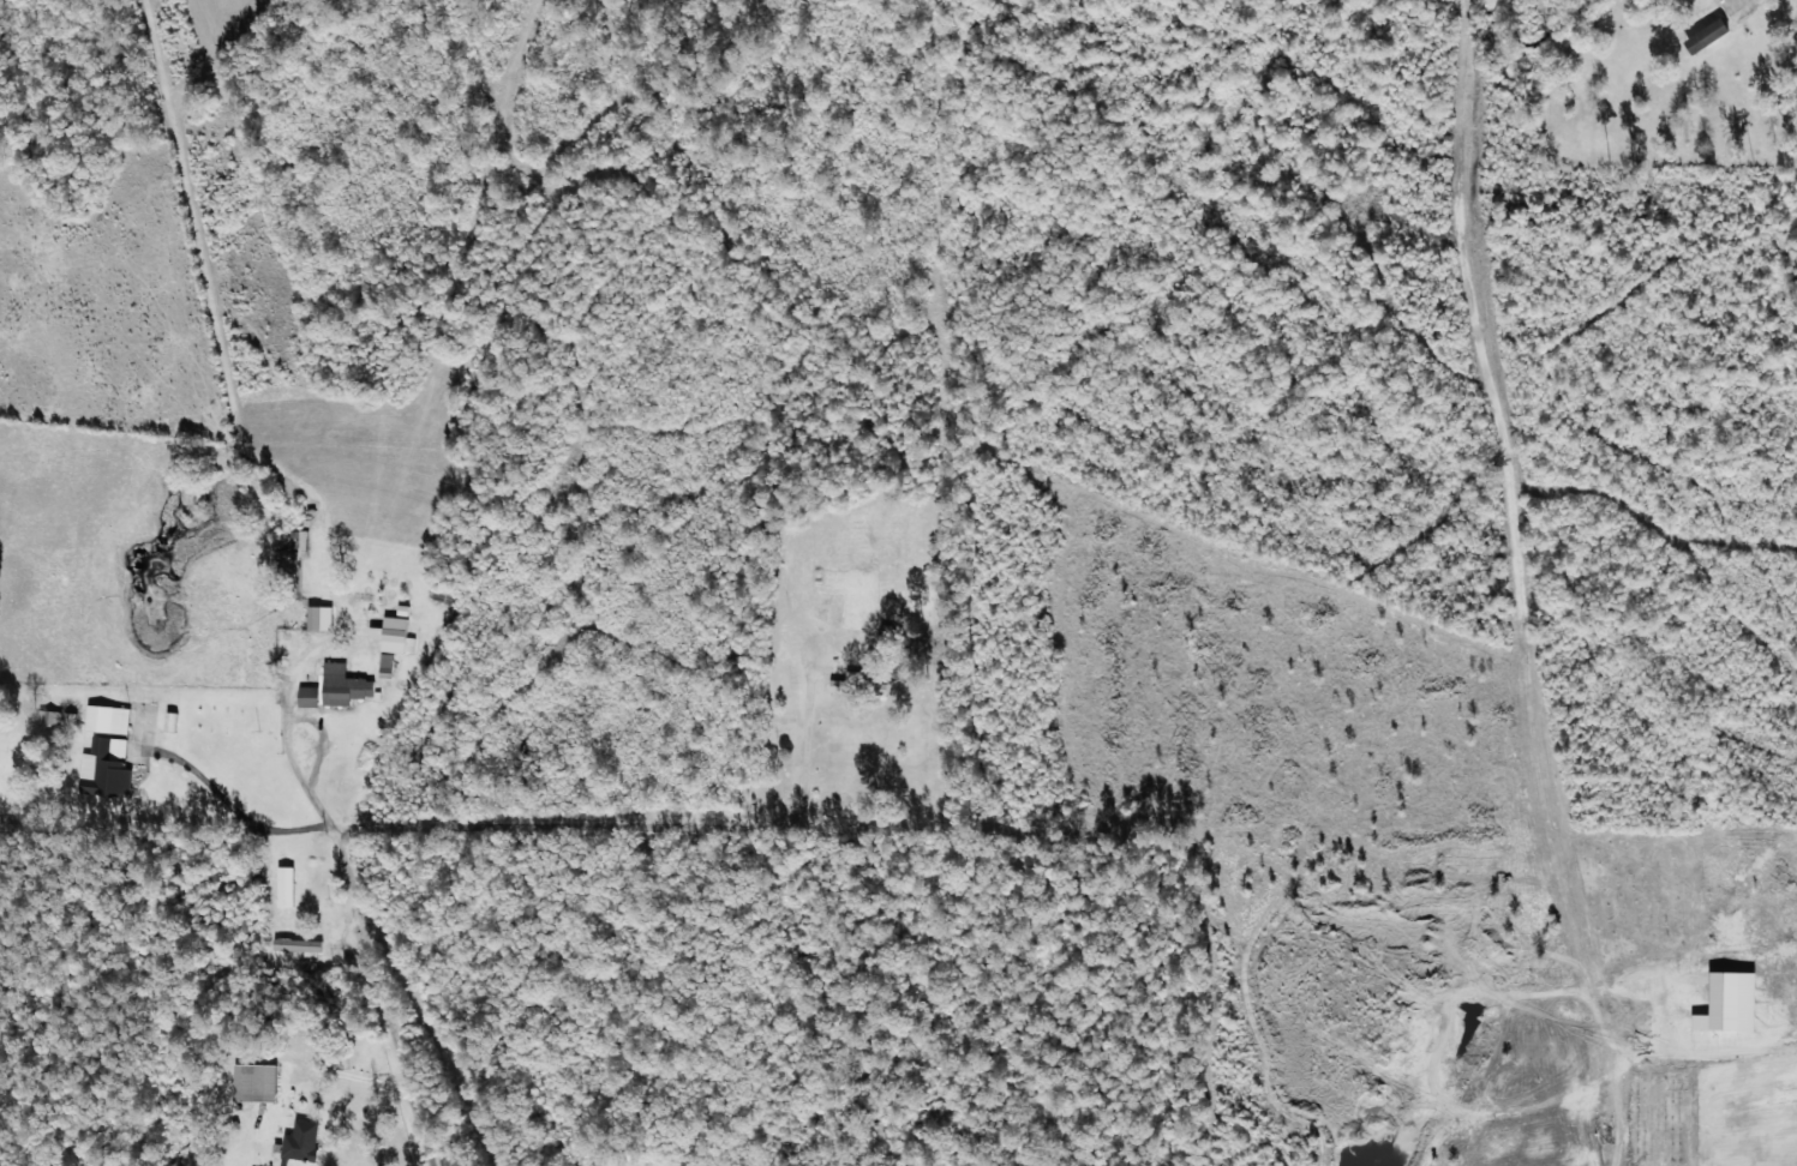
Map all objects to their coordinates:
building: (1703, 35)
building: (312, 617)
building: (391, 635)
building: (384, 665)
building: (342, 689)
building: (106, 719)
building: (104, 768)
road: (606, 828)
building: (293, 942)
road: (82, 955)
road: (381, 997)
building: (252, 1082)
building: (299, 1142)

